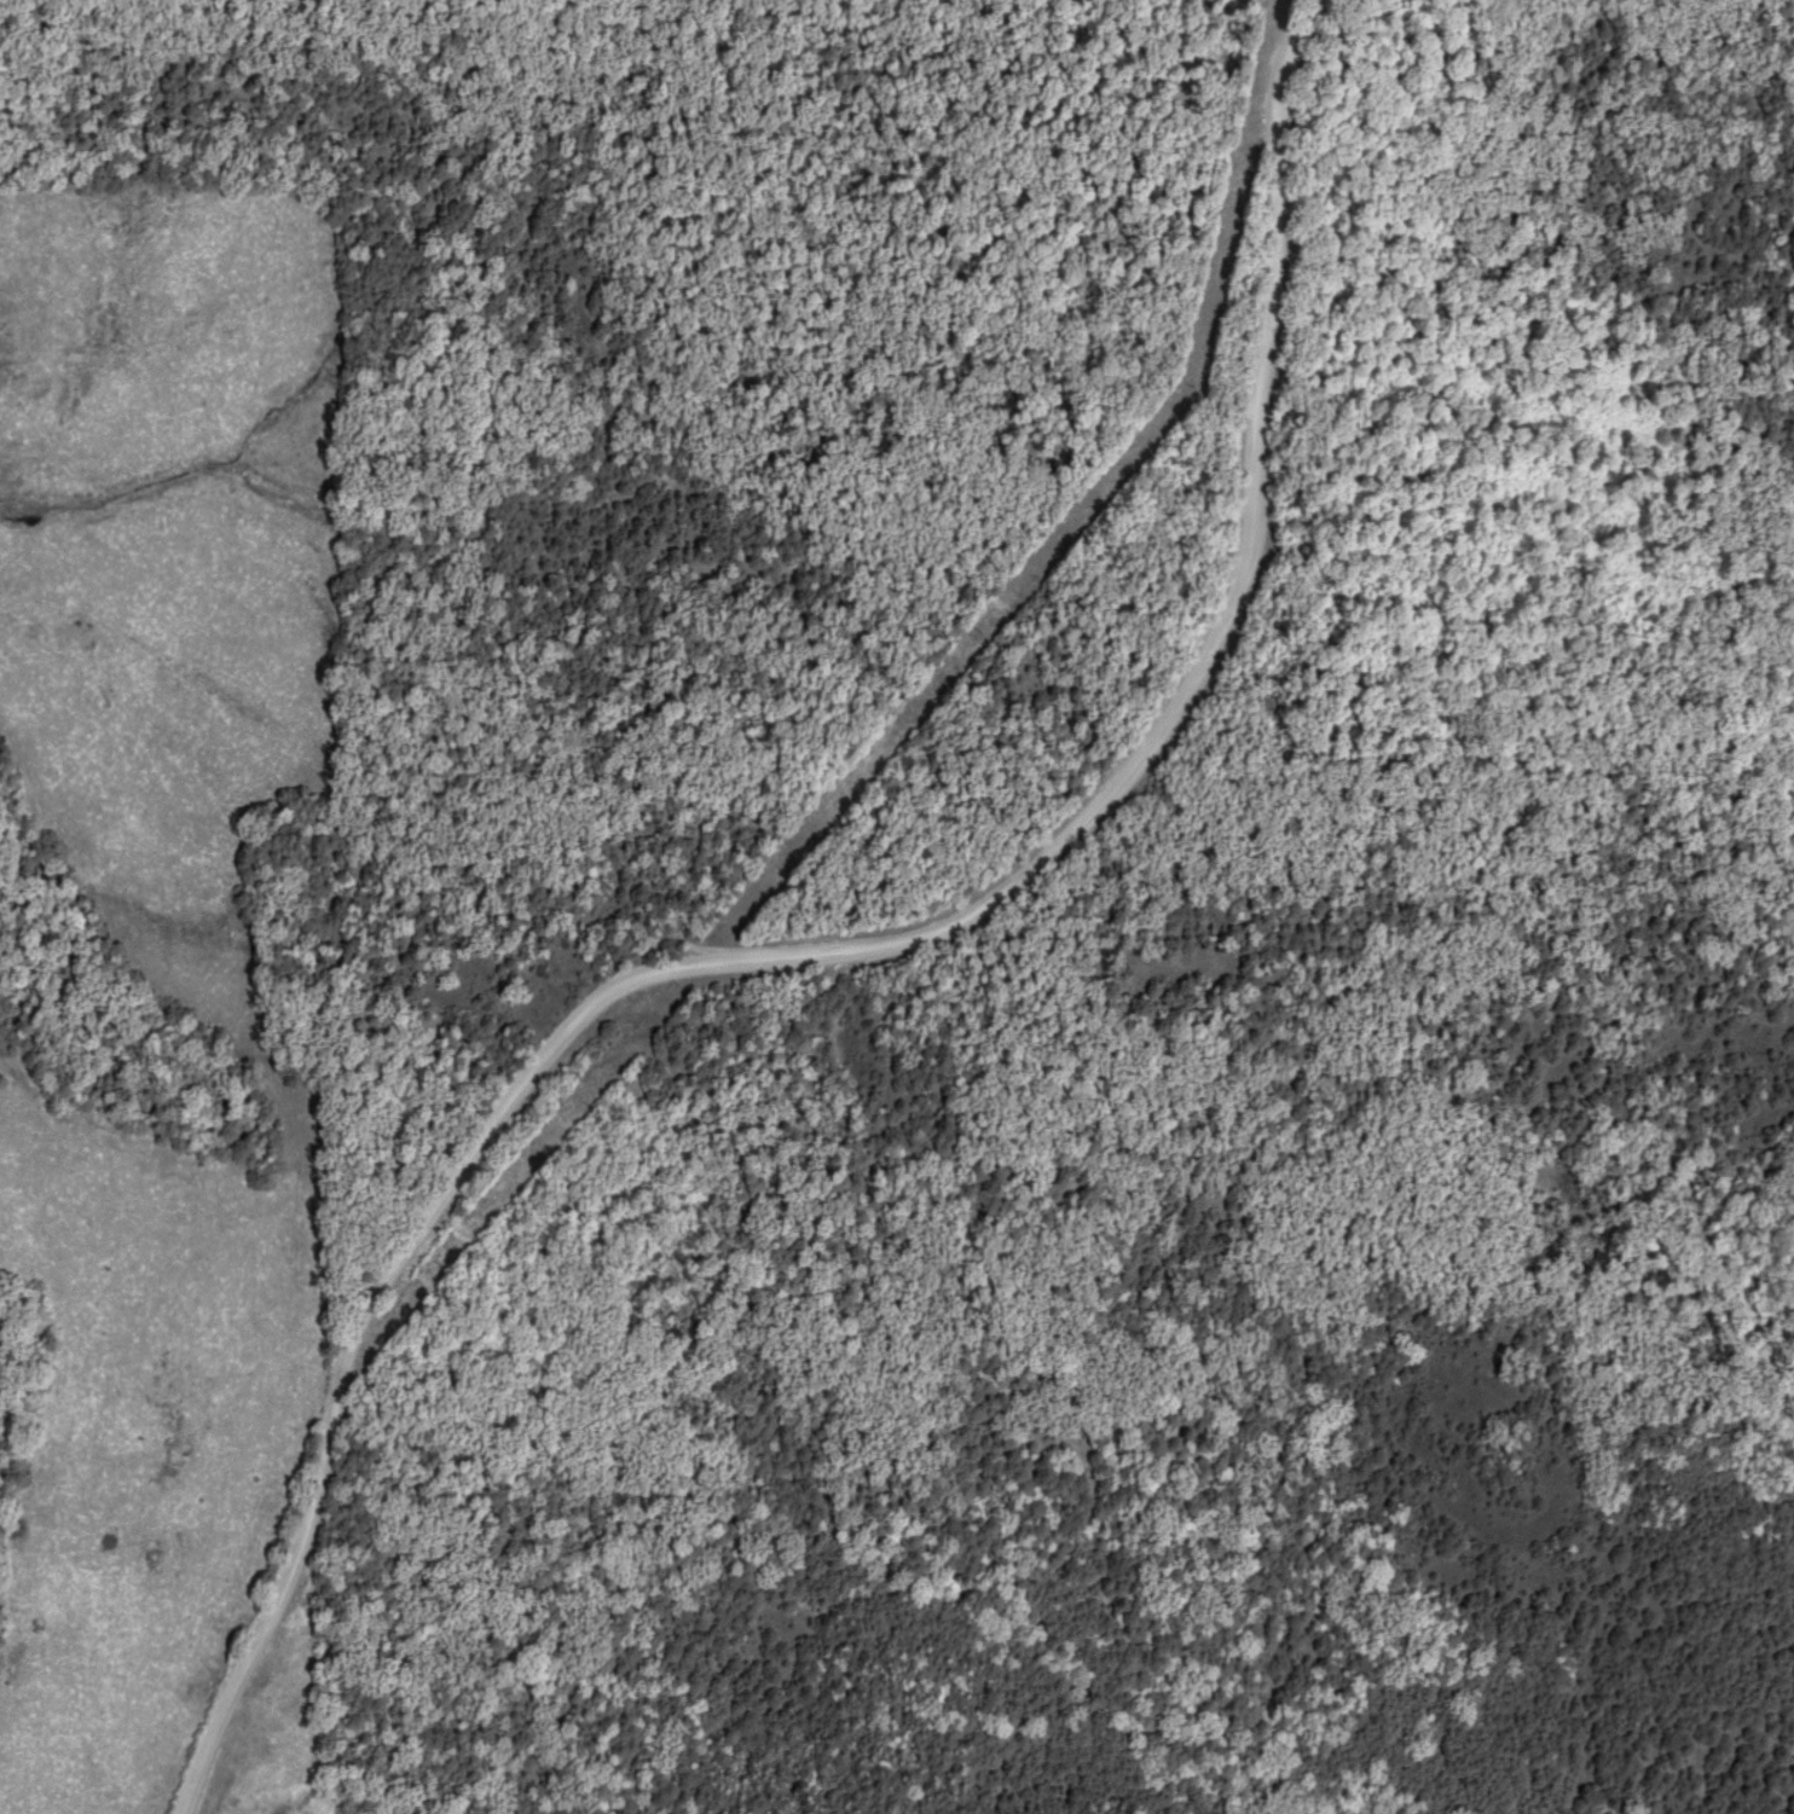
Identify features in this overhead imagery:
road: (834, 950)

